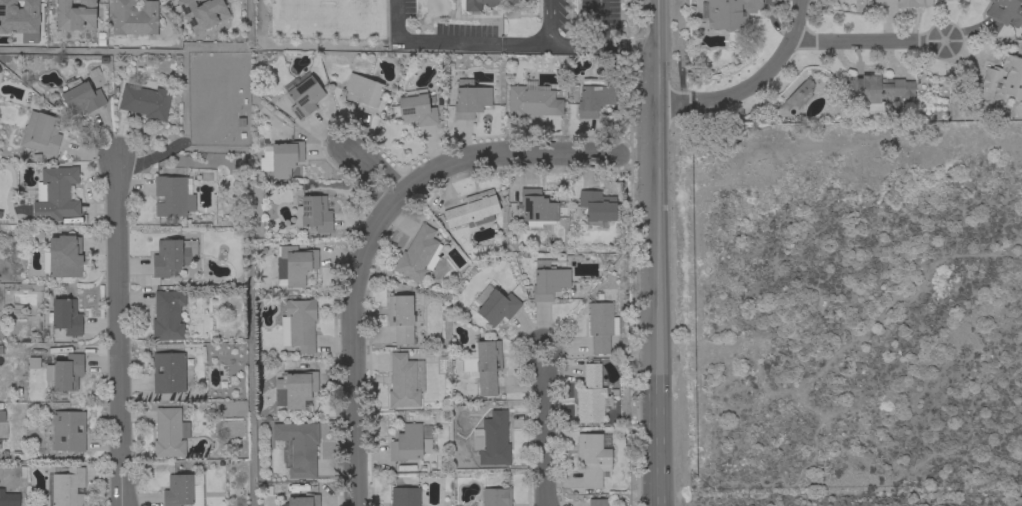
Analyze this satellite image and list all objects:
building: (903, 3)
building: (469, 6)
building: (1005, 12)
building: (203, 13)
building: (728, 13)
building: (75, 15)
building: (19, 17)
building: (134, 17)
road: (549, 17)
road: (800, 17)
road: (396, 20)
road: (598, 23)
building: (384, 29)
road: (476, 41)
road: (868, 43)
road: (198, 46)
road: (600, 46)
building: (1005, 76)
building: (873, 91)
building: (364, 92)
building: (799, 92)
road: (738, 95)
building: (81, 96)
building: (303, 96)
building: (470, 99)
building: (594, 100)
building: (146, 101)
building: (532, 101)
building: (415, 109)
building: (41, 133)
road: (174, 149)
building: (281, 158)
road: (369, 176)
building: (55, 195)
building: (173, 196)
building: (597, 207)
building: (536, 209)
building: (473, 210)
building: (314, 213)
road: (368, 233)
road: (657, 252)
building: (418, 255)
building: (63, 257)
building: (169, 257)
building: (294, 265)
building: (548, 280)
road: (248, 298)
building: (495, 305)
building: (65, 316)
building: (168, 316)
building: (403, 318)
building: (298, 325)
building: (600, 326)
road: (118, 329)
building: (483, 365)
building: (67, 372)
building: (168, 372)
building: (404, 381)
building: (295, 388)
building: (590, 396)
building: (1, 417)
road: (545, 430)
building: (67, 431)
building: (169, 433)
building: (492, 439)
building: (410, 442)
building: (297, 447)
building: (593, 457)
building: (64, 488)
building: (182, 490)
building: (405, 496)
building: (496, 497)
building: (8, 499)
building: (301, 501)
building: (597, 502)

